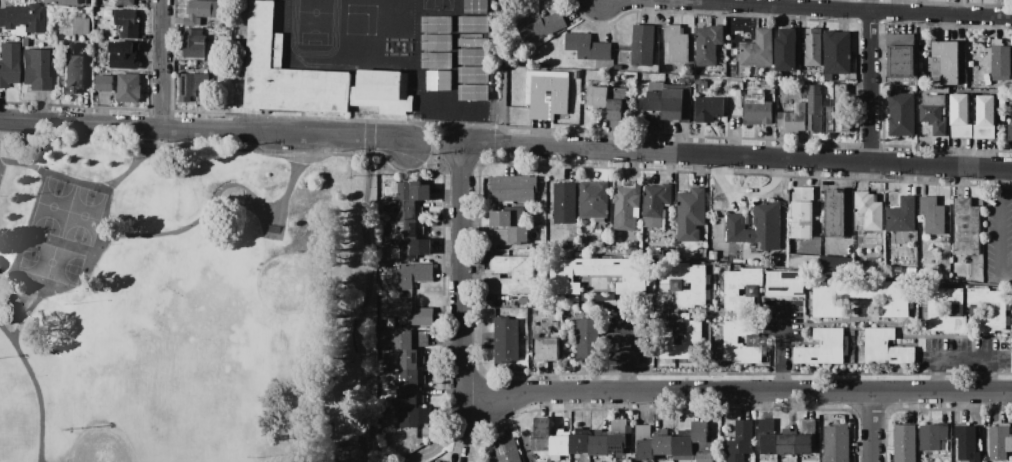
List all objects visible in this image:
building: (271, 0)
building: (65, 2)
building: (95, 2)
building: (124, 2)
road: (670, 2)
building: (477, 6)
building: (204, 10)
building: (99, 12)
road: (864, 12)
building: (22, 17)
building: (128, 23)
building: (82, 24)
building: (541, 24)
building: (24, 43)
building: (677, 43)
building: (58, 44)
building: (194, 44)
building: (643, 45)
building: (710, 45)
building: (588, 46)
building: (814, 47)
building: (758, 49)
building: (787, 51)
building: (838, 52)
building: (124, 55)
building: (901, 55)
building: (1001, 60)
building: (948, 61)
building: (8, 64)
road: (162, 64)
building: (35, 70)
building: (287, 72)
road: (508, 72)
building: (72, 73)
building: (829, 78)
building: (921, 78)
building: (439, 80)
road: (870, 81)
building: (104, 83)
building: (193, 86)
building: (702, 87)
building: (129, 88)
building: (941, 90)
building: (382, 92)
building: (473, 93)
building: (547, 94)
building: (598, 96)
building: (617, 103)
building: (677, 103)
building: (654, 104)
building: (709, 109)
building: (815, 109)
building: (758, 110)
building: (838, 111)
building: (934, 112)
building: (902, 114)
building: (961, 116)
building: (986, 117)
building: (793, 119)
road: (207, 129)
building: (1011, 132)
road: (439, 147)
road: (739, 155)
road: (141, 163)
building: (514, 188)
building: (410, 191)
building: (594, 200)
building: (565, 203)
building: (656, 204)
building: (627, 206)
building: (405, 209)
building: (868, 212)
building: (803, 213)
building: (836, 213)
building: (691, 214)
building: (902, 215)
building: (932, 215)
building: (509, 217)
building: (757, 226)
building: (967, 227)
building: (410, 229)
road: (998, 231)
road: (166, 232)
park: (64, 233)
building: (512, 235)
building: (944, 240)
building: (387, 242)
building: (573, 242)
building: (582, 245)
building: (412, 248)
building: (631, 250)
building: (703, 253)
building: (713, 255)
building: (805, 261)
building: (837, 264)
building: (859, 264)
building: (602, 274)
building: (409, 276)
building: (526, 276)
building: (785, 282)
building: (676, 287)
road: (69, 292)
building: (732, 292)
building: (862, 297)
road: (372, 299)
park: (182, 302)
building: (990, 309)
building: (935, 310)
building: (408, 313)
building: (831, 336)
building: (879, 336)
building: (589, 338)
building: (731, 339)
building: (410, 340)
building: (506, 340)
building: (683, 340)
road: (780, 347)
building: (548, 348)
road: (624, 350)
building: (820, 354)
building: (890, 354)
road: (961, 356)
building: (410, 359)
park: (192, 362)
building: (412, 378)
road: (36, 387)
park: (152, 389)
road: (616, 392)
building: (409, 398)
park: (7, 416)
building: (413, 416)
park: (15, 422)
road: (871, 427)
road: (455, 435)
building: (542, 435)
building: (618, 436)
building: (768, 436)
building: (806, 436)
building: (933, 436)
building: (702, 441)
building: (741, 441)
building: (645, 442)
building: (664, 442)
building: (787, 442)
building: (967, 442)
building: (999, 442)
building: (599, 443)
building: (836, 443)
building: (905, 443)
building: (561, 444)
building: (579, 444)
building: (684, 444)
building: (507, 449)
building: (434, 461)
building: (439, 461)

